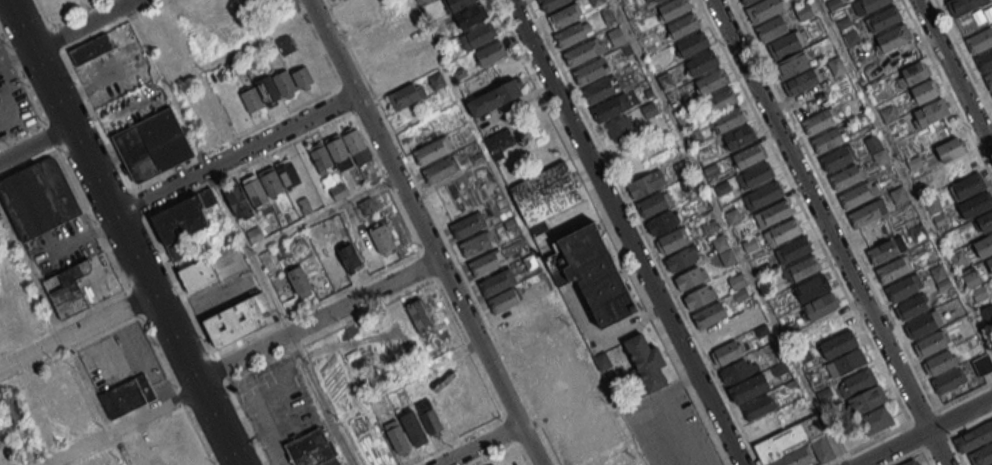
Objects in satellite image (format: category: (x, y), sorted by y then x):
building: (656, 0)
building: (746, 2)
building: (455, 4)
building: (549, 4)
building: (872, 4)
building: (964, 5)
road: (150, 6)
building: (356, 6)
building: (673, 8)
building: (763, 9)
road: (75, 12)
road: (44, 13)
road: (132, 15)
building: (563, 16)
building: (469, 17)
building: (885, 18)
building: (367, 21)
road: (82, 24)
building: (682, 25)
building: (771, 28)
building: (478, 35)
building: (570, 35)
road: (57, 36)
building: (616, 36)
building: (893, 37)
building: (979, 39)
building: (692, 44)
building: (785, 44)
road: (65, 47)
building: (379, 47)
road: (243, 48)
building: (90, 51)
building: (490, 53)
building: (578, 54)
road: (964, 55)
building: (984, 60)
building: (701, 63)
building: (792, 63)
building: (836, 65)
road: (956, 70)
building: (589, 72)
building: (912, 73)
building: (396, 76)
building: (437, 80)
building: (989, 80)
building: (711, 81)
building: (802, 81)
building: (285, 83)
road: (165, 84)
road: (947, 89)
building: (597, 90)
building: (924, 91)
building: (991, 94)
building: (406, 95)
building: (494, 97)
building: (721, 100)
building: (607, 109)
building: (932, 110)
building: (888, 113)
building: (217, 114)
road: (97, 119)
building: (727, 119)
road: (274, 120)
building: (817, 121)
road: (360, 126)
building: (619, 128)
building: (739, 137)
building: (826, 139)
road: (35, 143)
building: (498, 143)
building: (152, 145)
building: (877, 149)
building: (949, 149)
building: (338, 150)
building: (433, 150)
road: (237, 153)
road: (201, 155)
building: (748, 156)
building: (838, 157)
building: (681, 168)
building: (440, 169)
road: (905, 174)
building: (754, 175)
building: (846, 176)
building: (646, 183)
building: (262, 185)
building: (967, 185)
building: (721, 187)
building: (339, 191)
building: (546, 193)
building: (763, 194)
building: (857, 194)
building: (38, 198)
building: (932, 203)
building: (653, 204)
building: (976, 204)
road: (835, 206)
building: (368, 207)
road: (325, 213)
building: (773, 213)
road: (805, 213)
building: (865, 213)
building: (732, 215)
building: (984, 222)
building: (187, 223)
building: (661, 223)
building: (468, 225)
building: (781, 231)
building: (917, 231)
road: (430, 232)
road: (442, 232)
road: (527, 232)
road: (612, 232)
road: (623, 232)
road: (644, 232)
road: (729, 232)
road: (833, 232)
road: (122, 233)
building: (672, 240)
building: (477, 243)
building: (720, 244)
building: (983, 246)
building: (792, 249)
road: (248, 250)
building: (883, 250)
building: (959, 257)
building: (348, 258)
building: (680, 258)
building: (529, 261)
road: (428, 263)
building: (485, 263)
building: (989, 265)
building: (800, 268)
building: (894, 269)
building: (595, 273)
building: (197, 274)
building: (940, 277)
building: (688, 278)
building: (737, 281)
building: (300, 282)
building: (496, 282)
building: (811, 287)
building: (903, 287)
building: (67, 289)
building: (979, 294)
building: (699, 296)
building: (505, 299)
building: (435, 304)
building: (912, 306)
building: (808, 311)
building: (986, 311)
building: (419, 315)
building: (708, 315)
road: (56, 317)
building: (238, 320)
building: (922, 324)
road: (76, 332)
building: (931, 343)
building: (838, 344)
road: (469, 347)
road: (288, 349)
building: (727, 352)
road: (243, 357)
building: (326, 359)
building: (645, 360)
building: (847, 362)
building: (940, 362)
building: (982, 364)
building: (779, 369)
building: (734, 371)
building: (857, 381)
building: (947, 381)
building: (747, 388)
road: (669, 389)
road: (962, 395)
building: (127, 396)
building: (866, 399)
road: (320, 400)
building: (463, 404)
building: (757, 407)
building: (10, 409)
building: (446, 410)
road: (924, 416)
building: (875, 419)
road: (943, 421)
road: (969, 426)
parking lot: (668, 428)
road: (509, 429)
road: (668, 429)
road: (925, 432)
building: (396, 436)
road: (916, 436)
building: (974, 436)
road: (454, 441)
road: (480, 442)
road: (870, 442)
road: (937, 442)
road: (925, 448)
road: (956, 448)
building: (822, 449)
building: (311, 450)
road: (520, 452)
road: (493, 454)
road: (926, 455)
building: (982, 455)
building: (796, 457)
building: (511, 460)
building: (911, 462)
building: (89, 464)
building: (494, 464)

